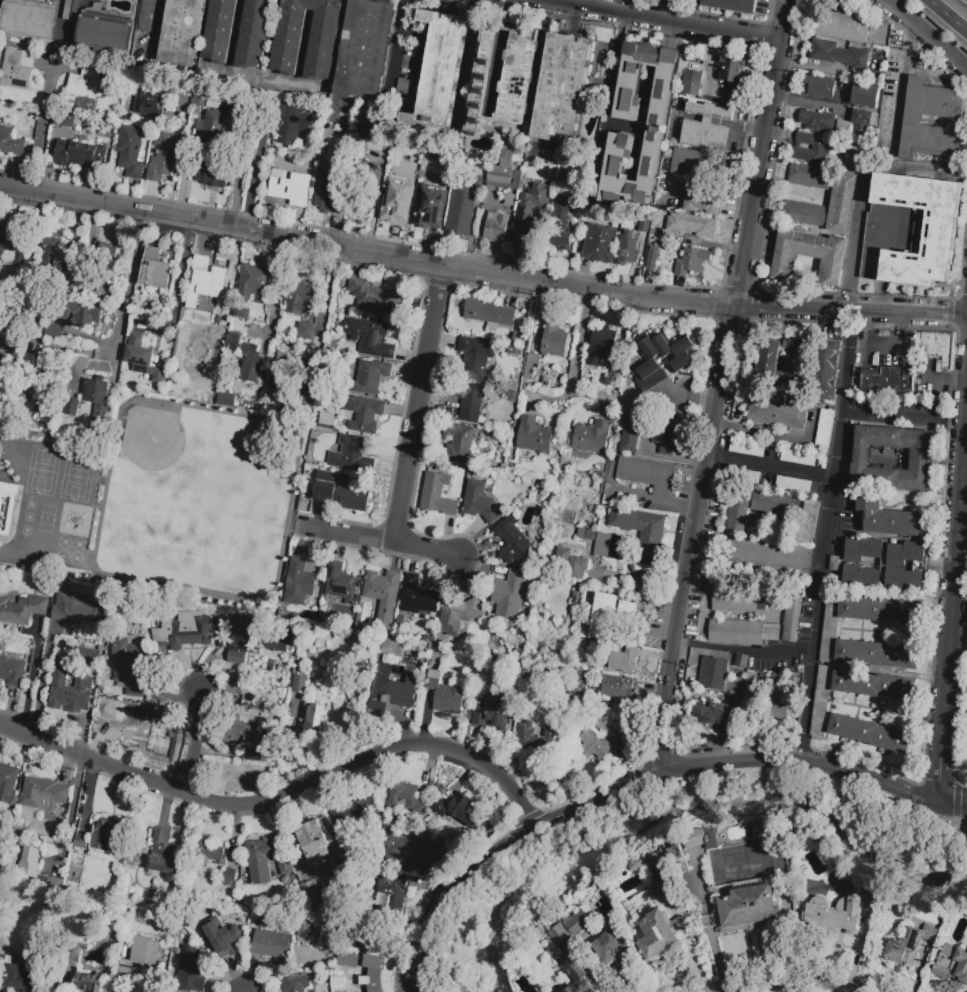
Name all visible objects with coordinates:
building: (731, 5)
building: (67, 9)
building: (74, 10)
building: (146, 15)
road: (947, 16)
building: (29, 21)
road: (662, 21)
building: (840, 25)
building: (182, 32)
building: (218, 32)
building: (105, 33)
building: (252, 34)
road: (923, 38)
building: (323, 41)
building: (365, 50)
building: (838, 53)
road: (464, 63)
building: (733, 67)
building: (16, 69)
building: (406, 69)
building: (439, 71)
building: (84, 82)
road: (612, 83)
building: (692, 83)
building: (503, 84)
building: (820, 86)
building: (561, 87)
road: (897, 91)
building: (866, 95)
building: (149, 98)
building: (198, 100)
building: (218, 102)
building: (951, 116)
building: (63, 118)
building: (865, 118)
building: (816, 120)
road: (642, 121)
building: (291, 123)
building: (212, 125)
building: (654, 125)
road: (47, 126)
building: (706, 128)
building: (367, 132)
building: (11, 143)
building: (807, 149)
building: (131, 150)
road: (763, 153)
building: (78, 154)
building: (163, 156)
building: (445, 161)
building: (690, 161)
building: (430, 170)
road: (928, 172)
building: (215, 173)
building: (504, 173)
road: (240, 176)
road: (253, 178)
building: (291, 187)
building: (326, 193)
building: (510, 199)
building: (703, 199)
building: (395, 200)
building: (795, 201)
building: (428, 206)
building: (461, 208)
building: (528, 214)
building: (691, 225)
building: (495, 226)
building: (560, 226)
building: (641, 226)
building: (910, 230)
building: (14, 241)
building: (599, 243)
road: (854, 249)
road: (366, 250)
building: (111, 251)
building: (627, 251)
building: (809, 256)
building: (57, 258)
building: (652, 258)
building: (690, 261)
building: (154, 268)
road: (30, 275)
building: (214, 279)
building: (255, 279)
road: (277, 285)
road: (128, 287)
road: (176, 288)
building: (375, 295)
road: (325, 298)
building: (301, 300)
building: (254, 311)
building: (488, 311)
road: (850, 313)
building: (78, 314)
building: (222, 315)
building: (53, 332)
building: (306, 332)
building: (372, 338)
building: (519, 338)
building: (554, 340)
building: (600, 345)
building: (683, 345)
building: (231, 346)
building: (656, 346)
road: (896, 347)
building: (938, 348)
building: (517, 351)
building: (142, 357)
building: (476, 357)
road: (578, 359)
building: (797, 360)
building: (250, 362)
building: (681, 362)
building: (768, 362)
building: (531, 365)
building: (823, 369)
building: (648, 375)
building: (370, 376)
building: (277, 377)
building: (887, 381)
building: (546, 383)
road: (722, 387)
building: (226, 399)
building: (468, 399)
road: (554, 401)
building: (42, 402)
building: (98, 403)
building: (71, 405)
road: (418, 405)
building: (363, 413)
building: (775, 413)
road: (883, 416)
building: (824, 429)
building: (648, 430)
building: (531, 434)
building: (592, 437)
building: (458, 442)
building: (352, 455)
building: (750, 457)
building: (646, 474)
road: (811, 476)
building: (893, 477)
building: (339, 491)
building: (437, 495)
road: (662, 500)
building: (480, 502)
building: (774, 504)
building: (7, 505)
building: (737, 510)
building: (807, 521)
building: (641, 530)
building: (585, 534)
road: (825, 536)
building: (512, 541)
road: (379, 543)
building: (610, 546)
building: (862, 550)
building: (769, 554)
building: (905, 555)
road: (695, 562)
building: (573, 563)
building: (860, 577)
building: (903, 580)
building: (300, 583)
building: (342, 584)
building: (382, 592)
building: (509, 594)
building: (417, 597)
building: (576, 598)
building: (739, 599)
building: (22, 610)
building: (879, 610)
building: (80, 611)
building: (457, 615)
building: (603, 615)
building: (628, 616)
road: (953, 616)
building: (791, 619)
building: (828, 625)
building: (184, 630)
building: (741, 632)
building: (242, 636)
building: (276, 642)
building: (393, 647)
road: (746, 649)
building: (502, 651)
building: (877, 653)
building: (620, 659)
building: (741, 661)
building: (129, 667)
building: (12, 672)
building: (715, 674)
building: (59, 675)
building: (735, 681)
road: (33, 682)
building: (299, 683)
building: (580, 685)
building: (872, 685)
building: (615, 686)
building: (234, 688)
road: (43, 689)
building: (391, 690)
building: (444, 695)
building: (72, 697)
building: (819, 700)
building: (779, 701)
building: (493, 710)
building: (713, 716)
road: (669, 717)
building: (315, 719)
building: (140, 723)
building: (602, 725)
building: (868, 733)
building: (536, 736)
road: (193, 742)
building: (250, 743)
building: (593, 745)
road: (728, 764)
road: (870, 777)
building: (7, 782)
building: (42, 794)
road: (281, 798)
building: (406, 798)
road: (75, 802)
road: (953, 805)
building: (439, 807)
building: (464, 811)
building: (354, 814)
building: (311, 834)
building: (106, 836)
building: (701, 838)
building: (80, 841)
building: (1, 848)
road: (501, 848)
building: (411, 850)
building: (162, 852)
building: (208, 854)
building: (676, 858)
building: (260, 859)
building: (31, 864)
building: (635, 865)
building: (284, 866)
building: (304, 867)
building: (659, 874)
building: (52, 878)
building: (229, 878)
building: (394, 891)
building: (873, 902)
building: (745, 908)
building: (841, 916)
building: (308, 934)
building: (557, 934)
building: (659, 934)
building: (221, 937)
building: (602, 942)
building: (270, 944)
building: (908, 944)
building: (359, 948)
building: (145, 950)
building: (70, 954)
building: (346, 959)
building: (952, 964)
building: (191, 970)
building: (23, 977)
building: (579, 978)
building: (364, 979)
building: (89, 982)
building: (295, 983)
road: (801, 984)
road: (121, 990)

